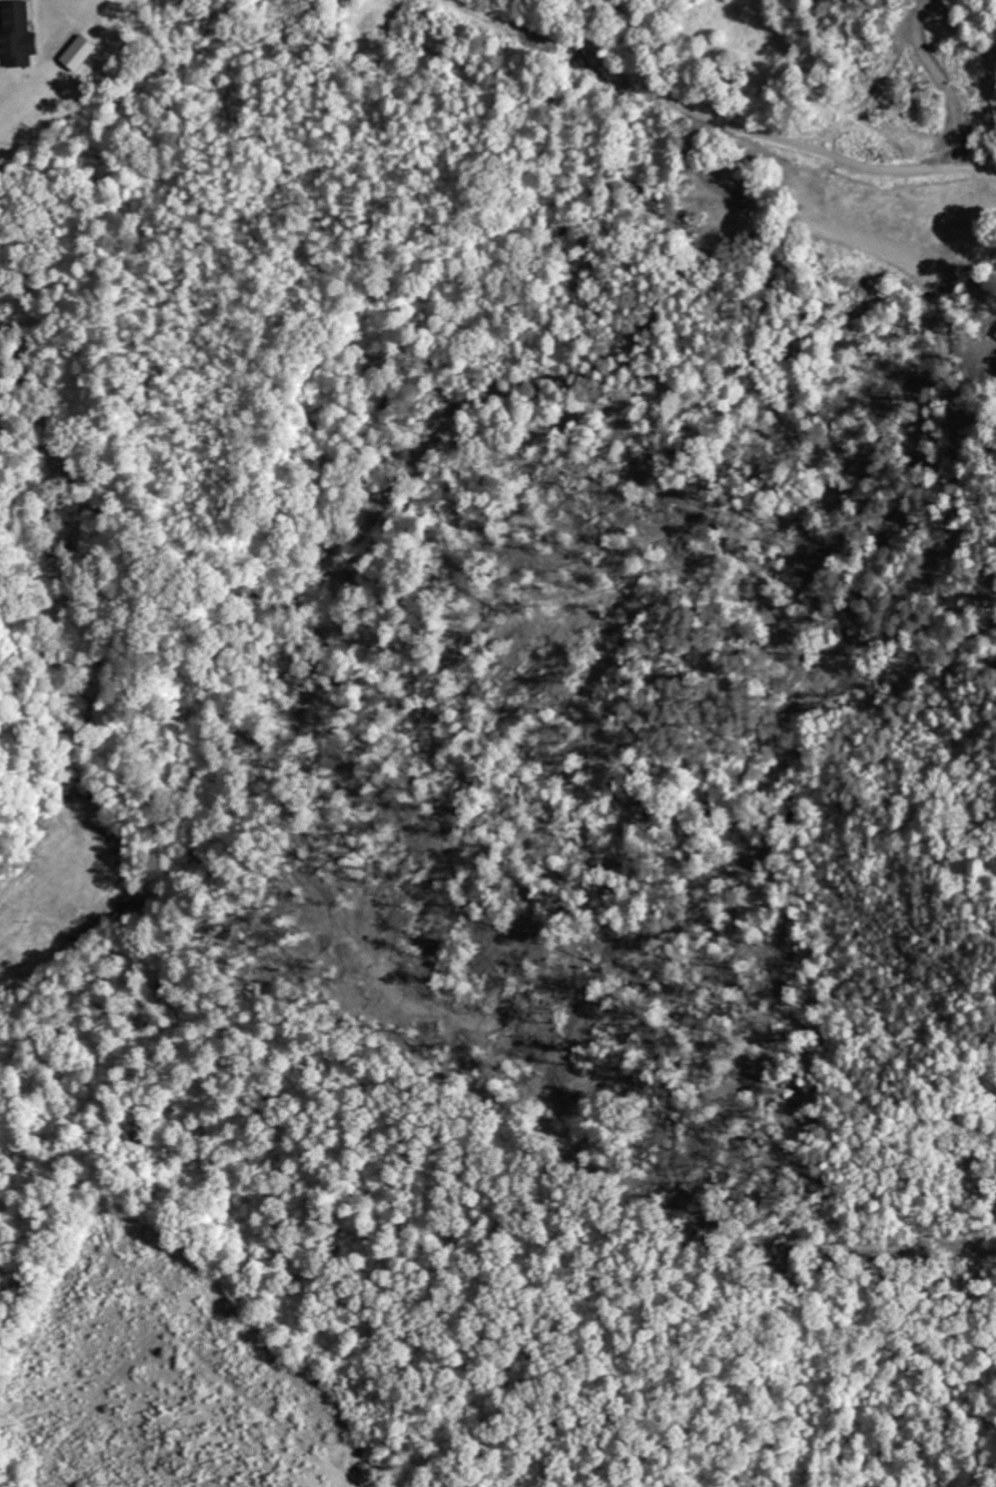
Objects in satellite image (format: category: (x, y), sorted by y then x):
building: (15, 36)
building: (76, 55)
road: (770, 137)

